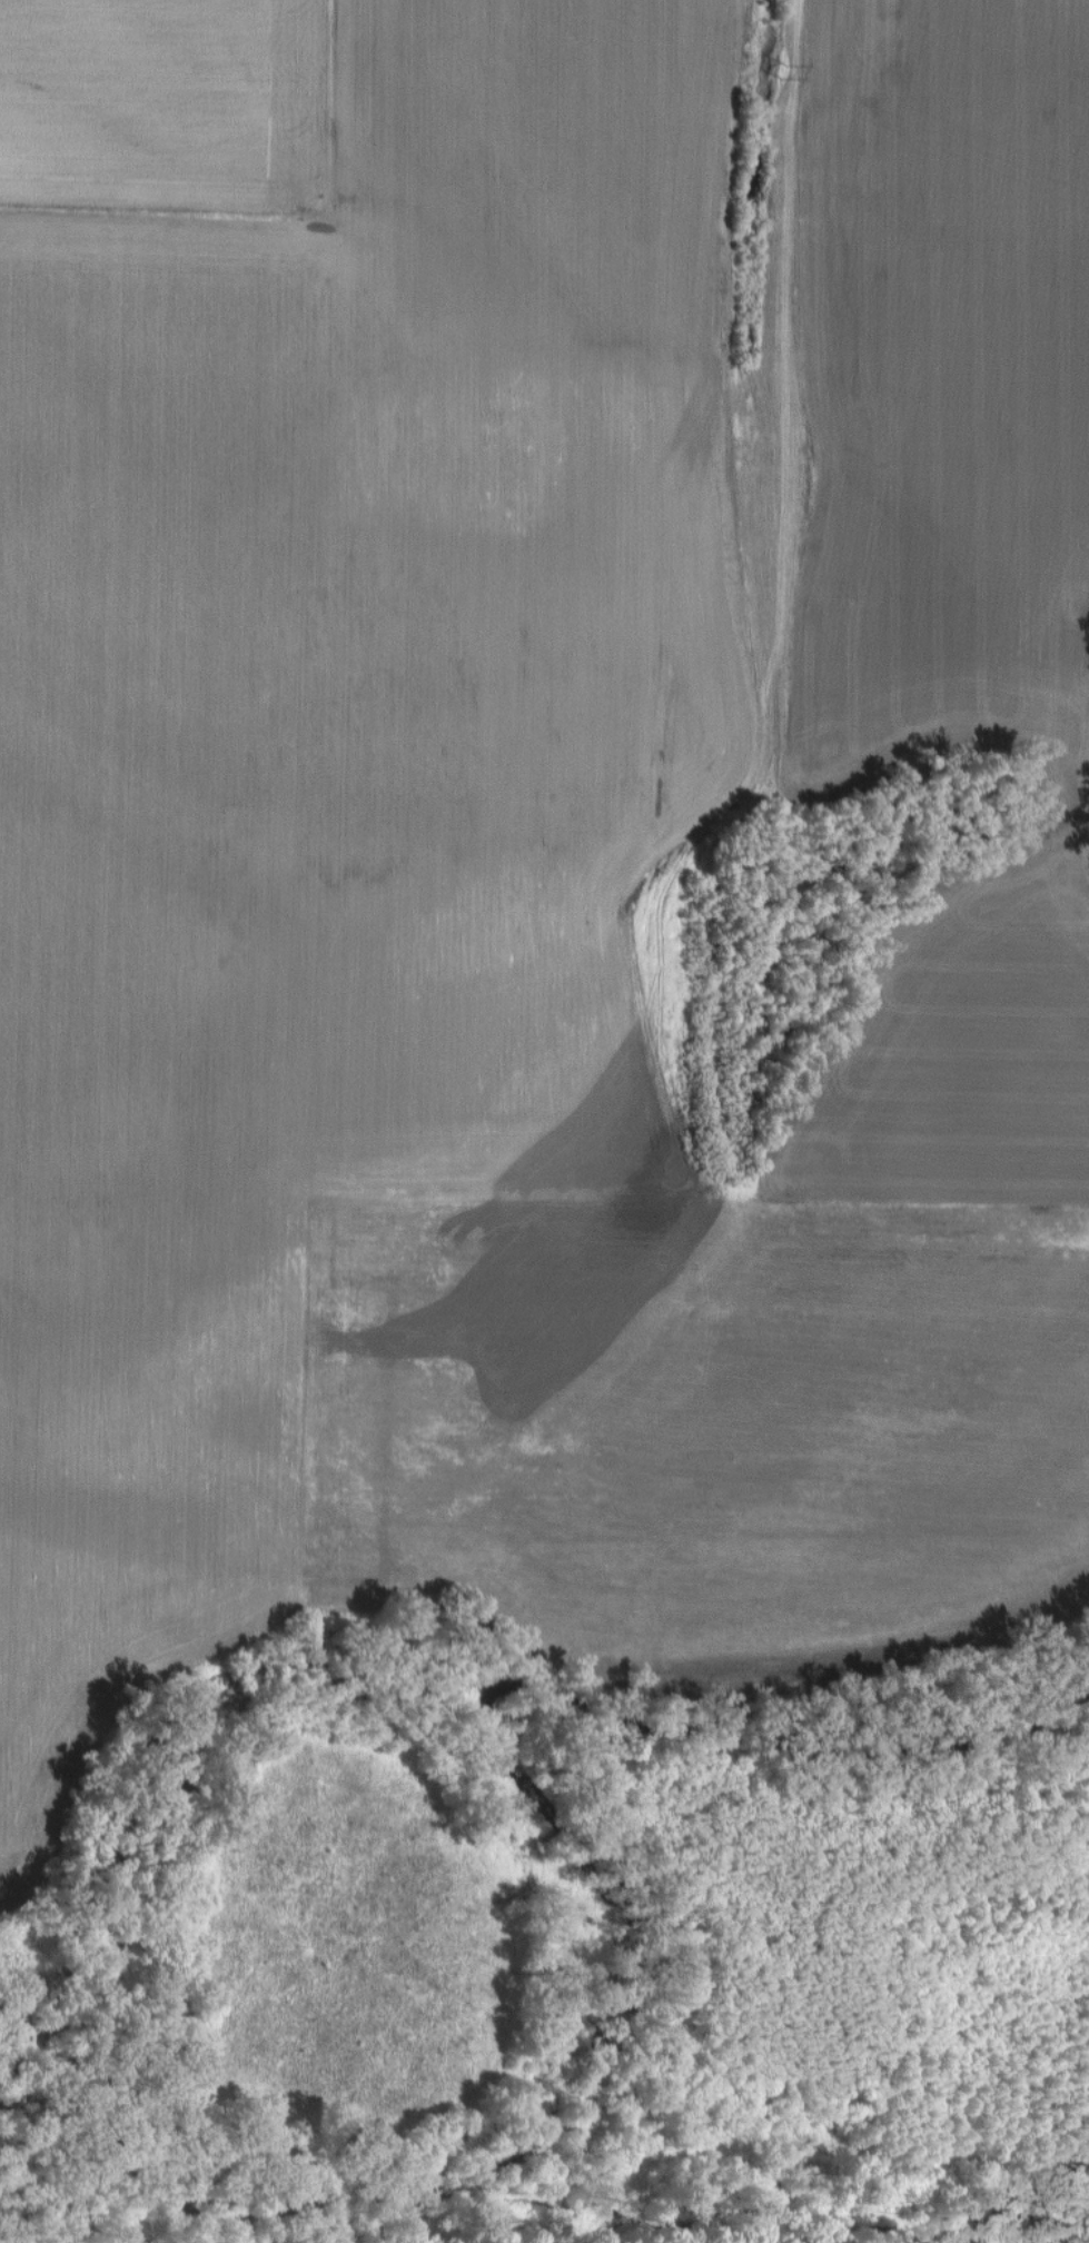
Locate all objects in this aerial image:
power tower: (784, 71)

